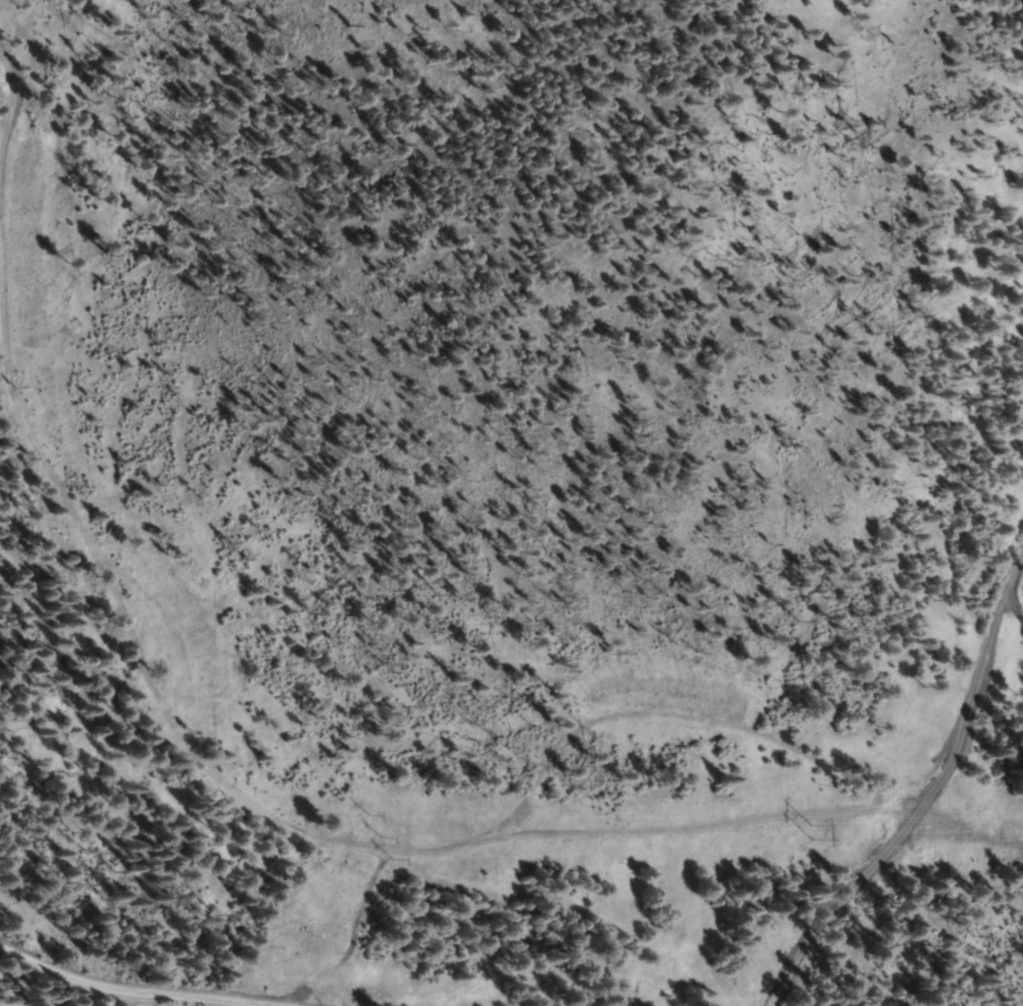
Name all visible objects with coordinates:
power tower: (810, 833)
power tower: (378, 835)
road: (126, 994)

